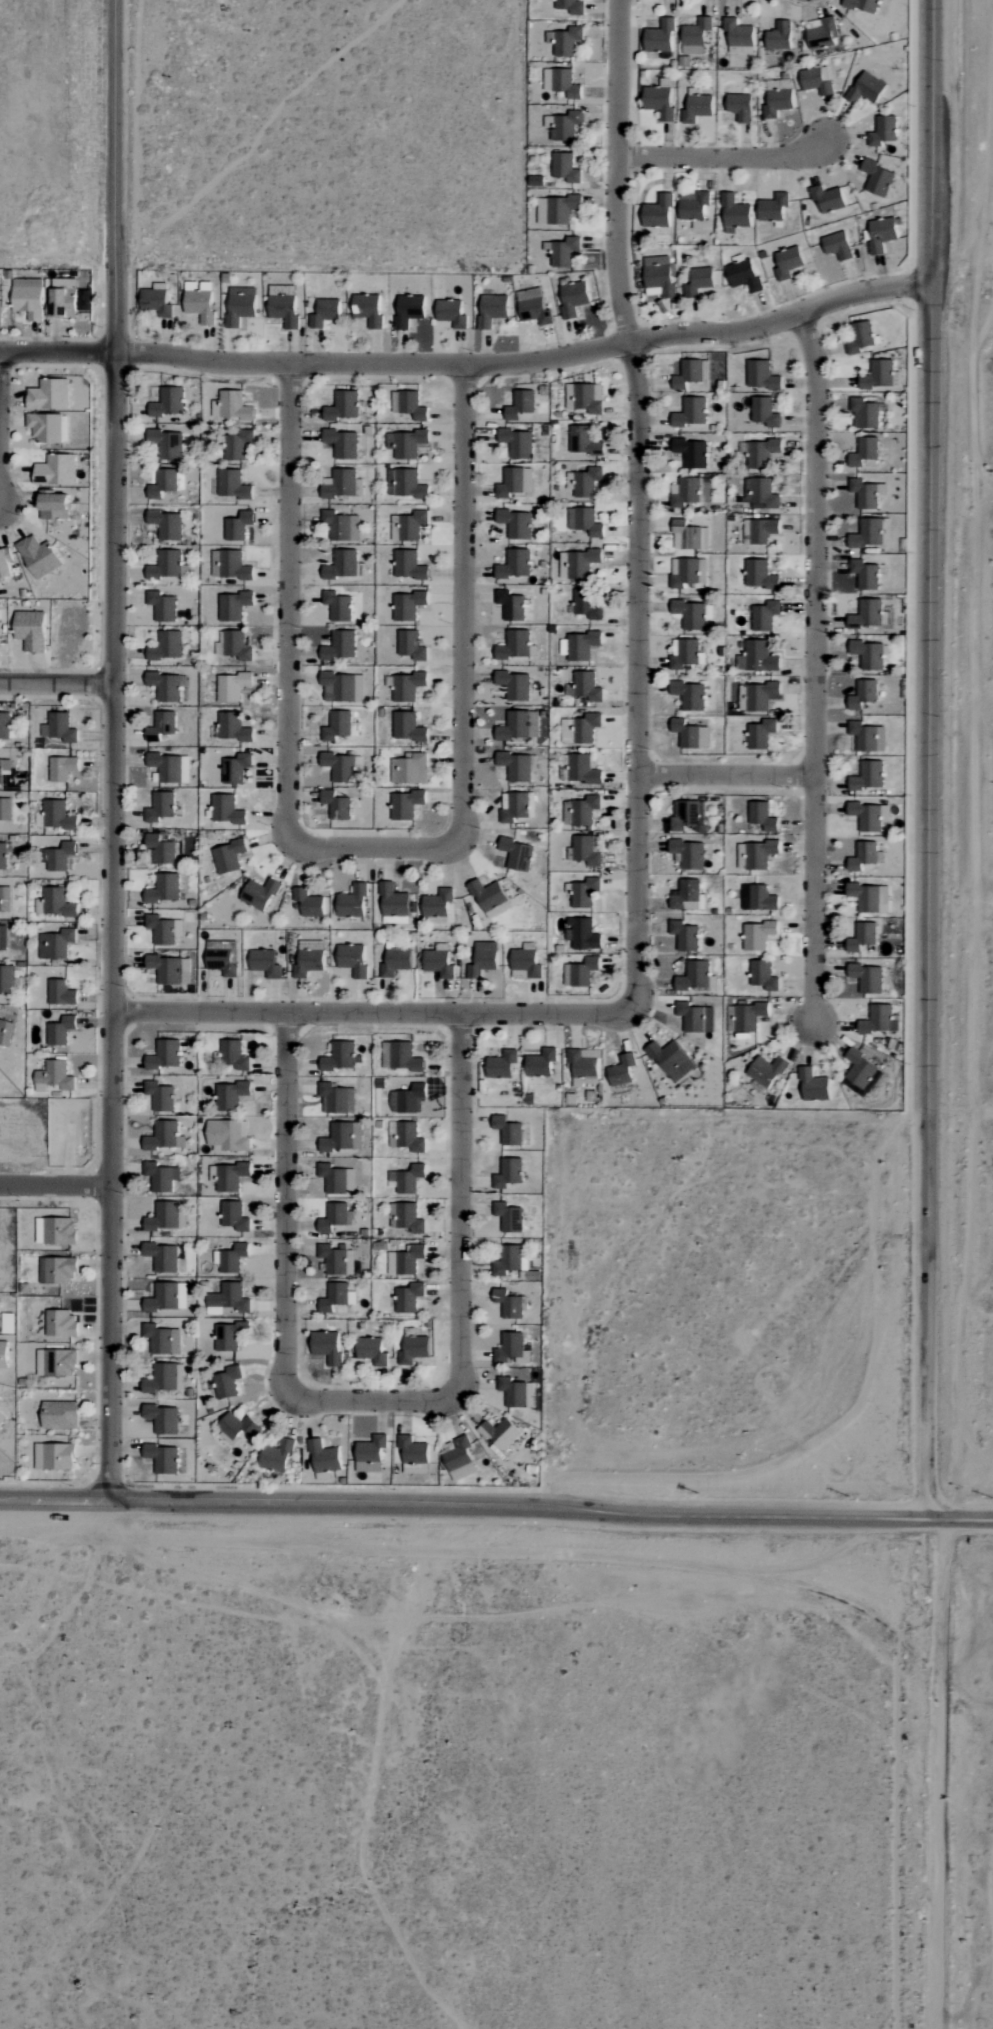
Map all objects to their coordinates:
building: (862, 5)
building: (570, 6)
building: (821, 33)
building: (738, 34)
building: (695, 36)
building: (779, 36)
building: (660, 37)
building: (567, 42)
building: (817, 80)
building: (561, 83)
building: (866, 89)
building: (778, 98)
building: (659, 102)
building: (740, 107)
building: (697, 108)
building: (564, 126)
building: (884, 131)
road: (726, 155)
building: (565, 168)
building: (877, 179)
building: (827, 199)
building: (773, 208)
building: (556, 210)
building: (658, 213)
building: (735, 214)
building: (880, 235)
building: (837, 246)
building: (563, 252)
building: (787, 263)
building: (743, 276)
building: (659, 278)
building: (698, 282)
building: (27, 298)
building: (62, 298)
building: (573, 299)
building: (156, 301)
building: (199, 302)
building: (283, 305)
building: (240, 306)
building: (533, 307)
building: (367, 310)
building: (409, 310)
building: (492, 310)
building: (324, 313)
building: (451, 314)
building: (859, 336)
road: (469, 362)
building: (688, 374)
building: (878, 374)
building: (761, 375)
building: (49, 394)
building: (585, 397)
building: (168, 402)
building: (394, 402)
building: (520, 404)
building: (412, 405)
building: (231, 406)
building: (343, 406)
building: (764, 411)
building: (690, 412)
building: (865, 413)
building: (46, 427)
road: (1, 428)
building: (583, 441)
building: (518, 442)
building: (167, 443)
building: (342, 443)
building: (405, 443)
building: (237, 445)
building: (864, 451)
building: (692, 452)
building: (760, 452)
building: (56, 470)
building: (515, 481)
building: (584, 481)
building: (162, 482)
building: (340, 483)
building: (232, 484)
building: (405, 484)
building: (760, 493)
building: (864, 493)
road: (634, 501)
building: (53, 505)
building: (584, 521)
building: (515, 523)
building: (166, 524)
building: (341, 525)
building: (238, 526)
building: (410, 526)
building: (759, 531)
building: (870, 533)
building: (686, 535)
building: (38, 556)
building: (5, 562)
building: (577, 563)
building: (515, 564)
building: (166, 565)
building: (230, 565)
building: (342, 565)
building: (408, 565)
building: (686, 572)
building: (759, 574)
building: (865, 574)
building: (588, 603)
building: (233, 605)
building: (408, 605)
building: (511, 605)
building: (162, 606)
building: (337, 606)
building: (867, 614)
building: (765, 615)
building: (691, 616)
building: (30, 630)
building: (235, 645)
building: (411, 645)
building: (515, 645)
building: (582, 645)
building: (166, 646)
building: (340, 646)
building: (685, 653)
building: (869, 654)
building: (757, 657)
road: (814, 667)
road: (59, 684)
building: (166, 685)
building: (515, 685)
building: (407, 686)
building: (587, 686)
building: (232, 687)
building: (343, 687)
building: (863, 694)
building: (689, 695)
building: (757, 696)
building: (161, 726)
building: (337, 726)
building: (514, 726)
building: (4, 727)
building: (59, 727)
building: (233, 727)
building: (407, 727)
building: (580, 729)
building: (761, 733)
building: (690, 734)
building: (864, 736)
road: (117, 750)
road: (928, 758)
building: (3, 766)
building: (339, 766)
building: (516, 766)
building: (171, 767)
building: (239, 767)
building: (61, 768)
building: (409, 769)
building: (582, 769)
road: (724, 772)
building: (869, 776)
building: (405, 804)
building: (336, 805)
building: (160, 807)
building: (5, 809)
building: (226, 809)
building: (582, 811)
building: (57, 815)
building: (688, 816)
building: (762, 816)
building: (870, 816)
road: (373, 846)
building: (160, 850)
building: (585, 851)
building: (517, 854)
building: (688, 854)
building: (3, 855)
building: (755, 855)
building: (228, 856)
building: (863, 856)
building: (58, 857)
building: (164, 888)
building: (585, 892)
building: (259, 894)
building: (688, 896)
building: (490, 898)
building: (762, 898)
building: (870, 898)
building: (5, 899)
building: (352, 902)
building: (55, 903)
building: (308, 903)
building: (437, 903)
road: (992, 903)
building: (393, 905)
building: (163, 929)
building: (582, 934)
building: (685, 935)
building: (758, 935)
building: (862, 937)
building: (3, 938)
building: (56, 944)
building: (309, 958)
building: (352, 959)
building: (483, 959)
building: (223, 961)
building: (439, 961)
building: (395, 962)
building: (265, 963)
building: (525, 963)
building: (169, 969)
building: (580, 972)
building: (763, 975)
building: (694, 977)
building: (867, 978)
building: (7, 979)
building: (60, 993)
road: (376, 1014)
building: (690, 1017)
building: (745, 1017)
building: (879, 1020)
building: (60, 1031)
building: (5, 1032)
building: (165, 1055)
building: (234, 1055)
building: (340, 1057)
building: (400, 1057)
building: (672, 1060)
building: (541, 1063)
building: (502, 1065)
building: (584, 1066)
building: (621, 1071)
building: (766, 1071)
building: (861, 1074)
building: (54, 1077)
building: (813, 1086)
building: (230, 1095)
building: (160, 1096)
building: (336, 1098)
building: (407, 1099)
building: (508, 1131)
building: (162, 1136)
building: (228, 1136)
building: (343, 1137)
building: (409, 1137)
building: (508, 1173)
building: (228, 1176)
building: (161, 1177)
building: (337, 1179)
building: (406, 1179)
road: (57, 1184)
building: (234, 1216)
building: (164, 1217)
building: (336, 1217)
building: (406, 1217)
building: (509, 1217)
building: (59, 1231)
building: (162, 1257)
building: (231, 1258)
building: (336, 1260)
building: (405, 1260)
building: (510, 1261)
building: (58, 1270)
building: (167, 1297)
building: (337, 1297)
building: (408, 1298)
building: (228, 1299)
building: (508, 1304)
building: (61, 1324)
building: (228, 1336)
building: (157, 1338)
building: (327, 1346)
building: (512, 1349)
building: (414, 1350)
building: (372, 1351)
building: (3, 1354)
building: (56, 1363)
building: (161, 1379)
building: (227, 1383)
building: (517, 1393)
road: (370, 1402)
building: (59, 1415)
building: (1, 1418)
building: (163, 1418)
building: (237, 1427)
building: (501, 1434)
building: (371, 1454)
building: (414, 1455)
building: (277, 1456)
building: (54, 1457)
building: (162, 1458)
building: (325, 1458)
building: (460, 1459)
street lamp: (97, 1465)
street lamp: (74, 1486)
street lamp: (133, 1487)
street lamp: (393, 1488)
road: (54, 1499)
road: (517, 1504)
road: (959, 1517)
road: (939, 1773)

